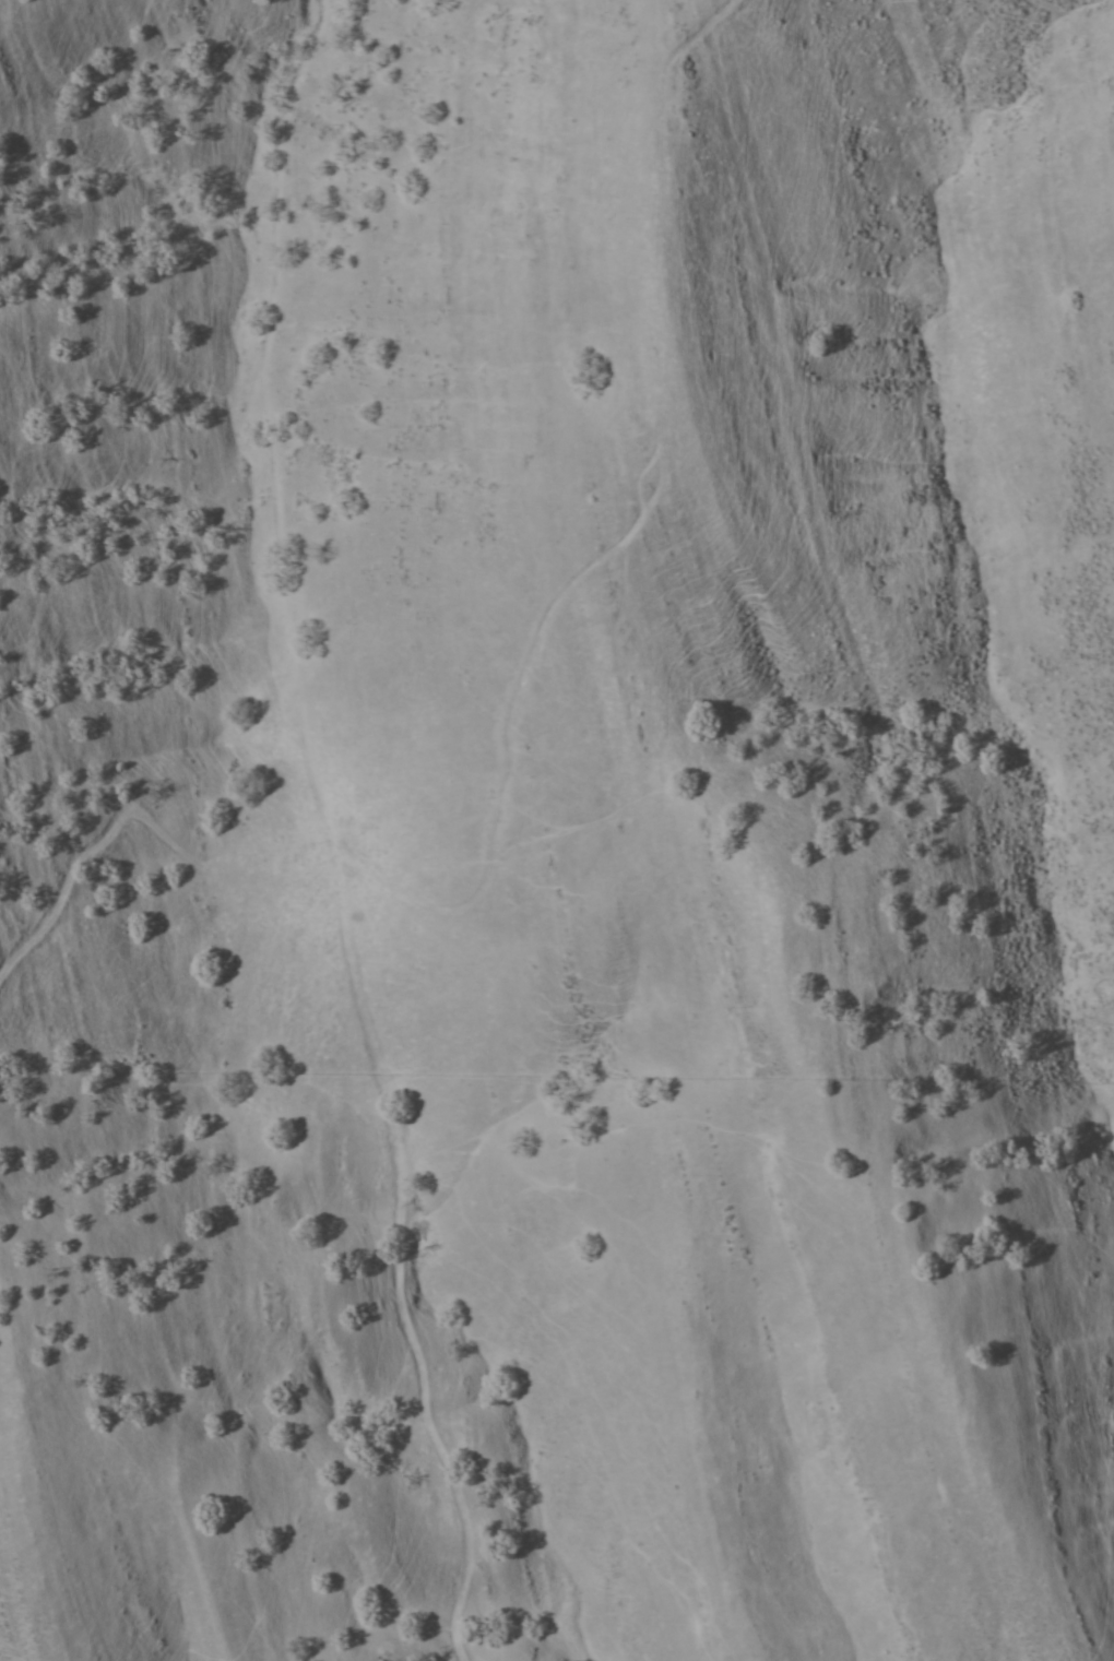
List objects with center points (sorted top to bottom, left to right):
road: (132, 1637)

